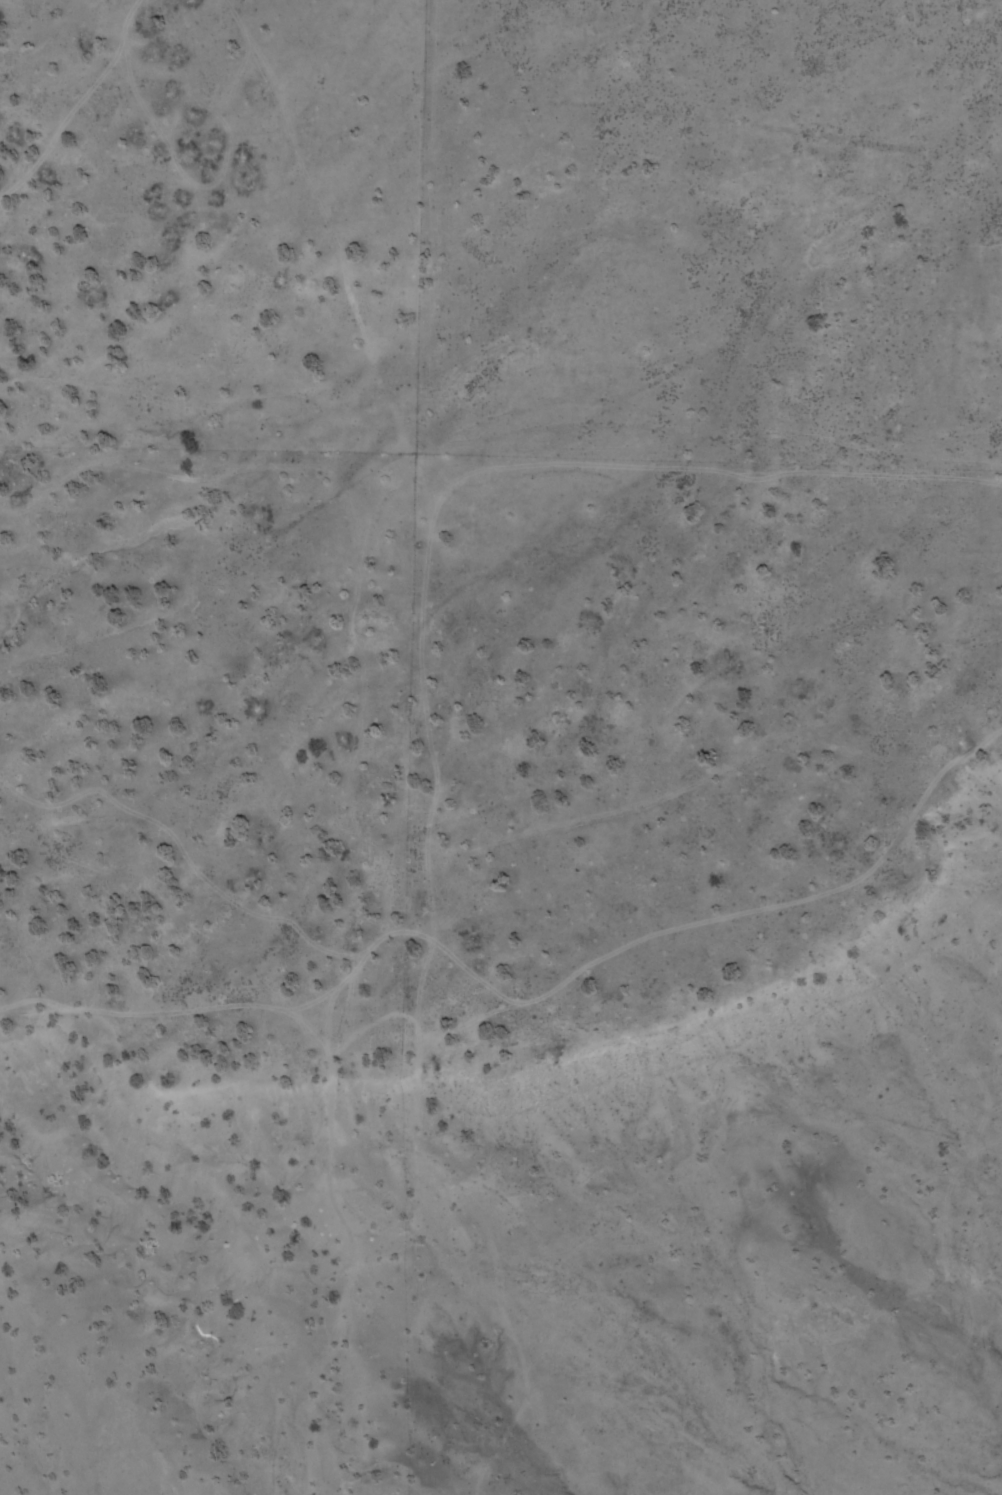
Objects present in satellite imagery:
road: (326, 245)

